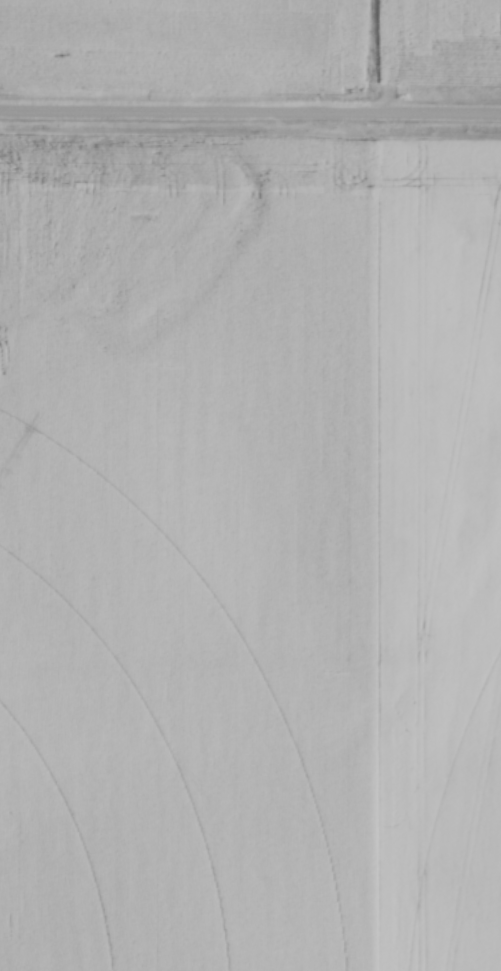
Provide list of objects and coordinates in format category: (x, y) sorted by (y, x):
road: (250, 116)

